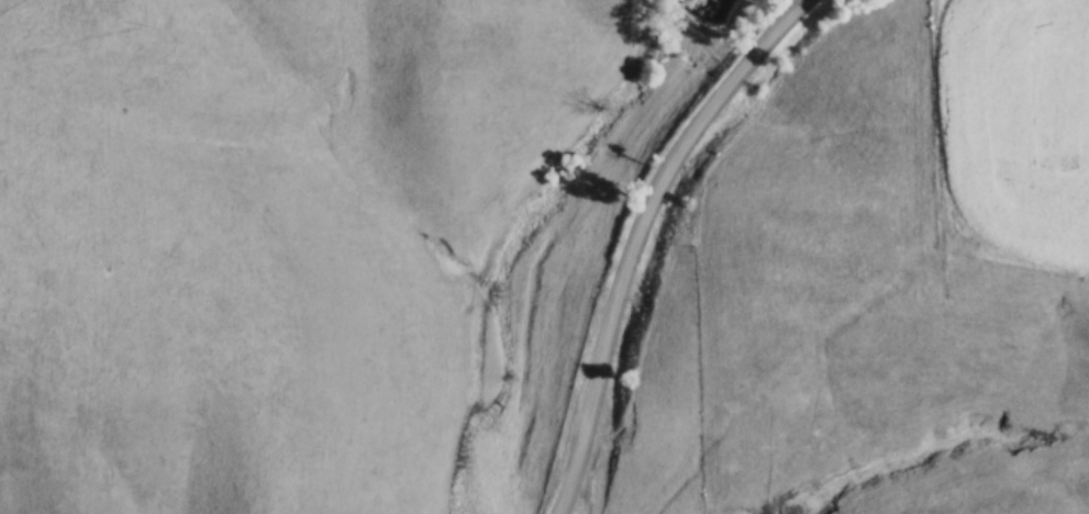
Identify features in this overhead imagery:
road: (643, 234)

